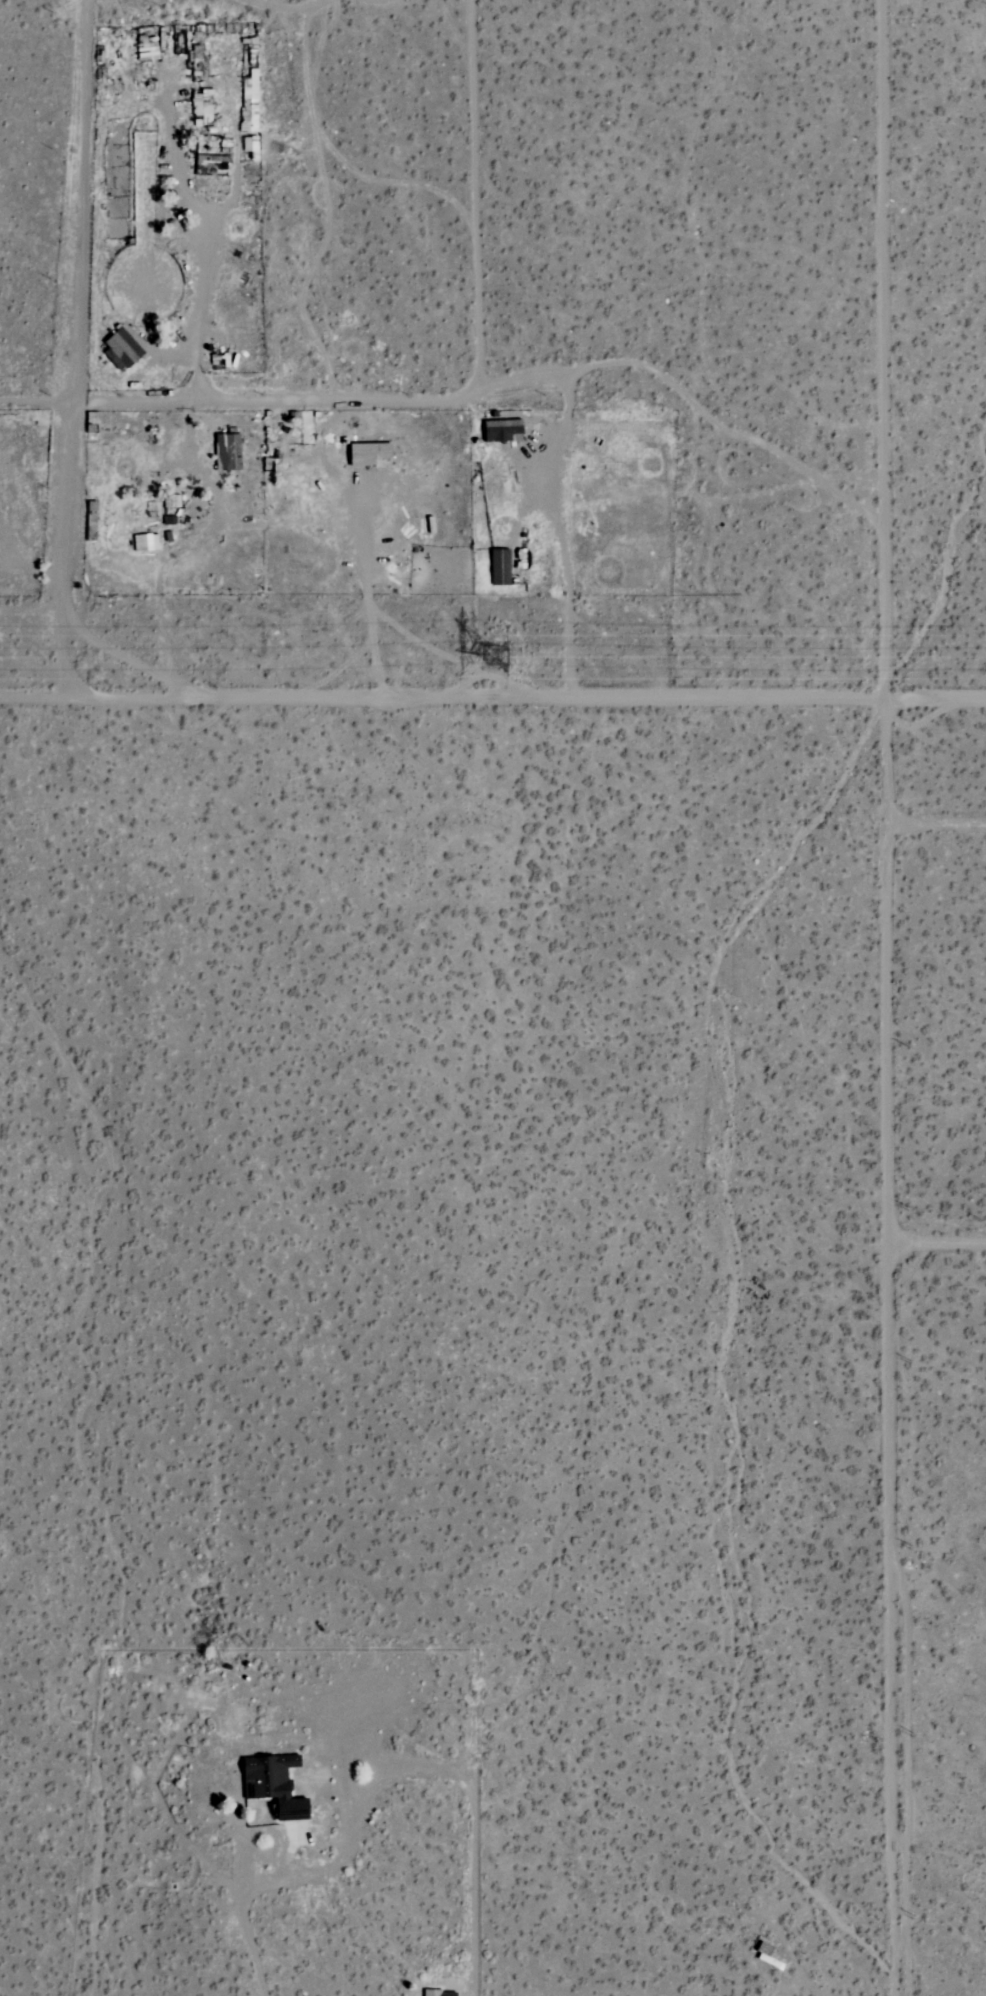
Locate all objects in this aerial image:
building: (152, 48)
building: (250, 102)
building: (213, 159)
road: (83, 203)
building: (122, 348)
road: (232, 404)
building: (229, 453)
building: (371, 454)
building: (172, 501)
building: (143, 542)
road: (62, 554)
building: (501, 567)
power tower: (485, 654)
road: (492, 700)
road: (892, 997)
road: (940, 1239)
road: (380, 1776)
building: (274, 1782)
building: (433, 1992)

